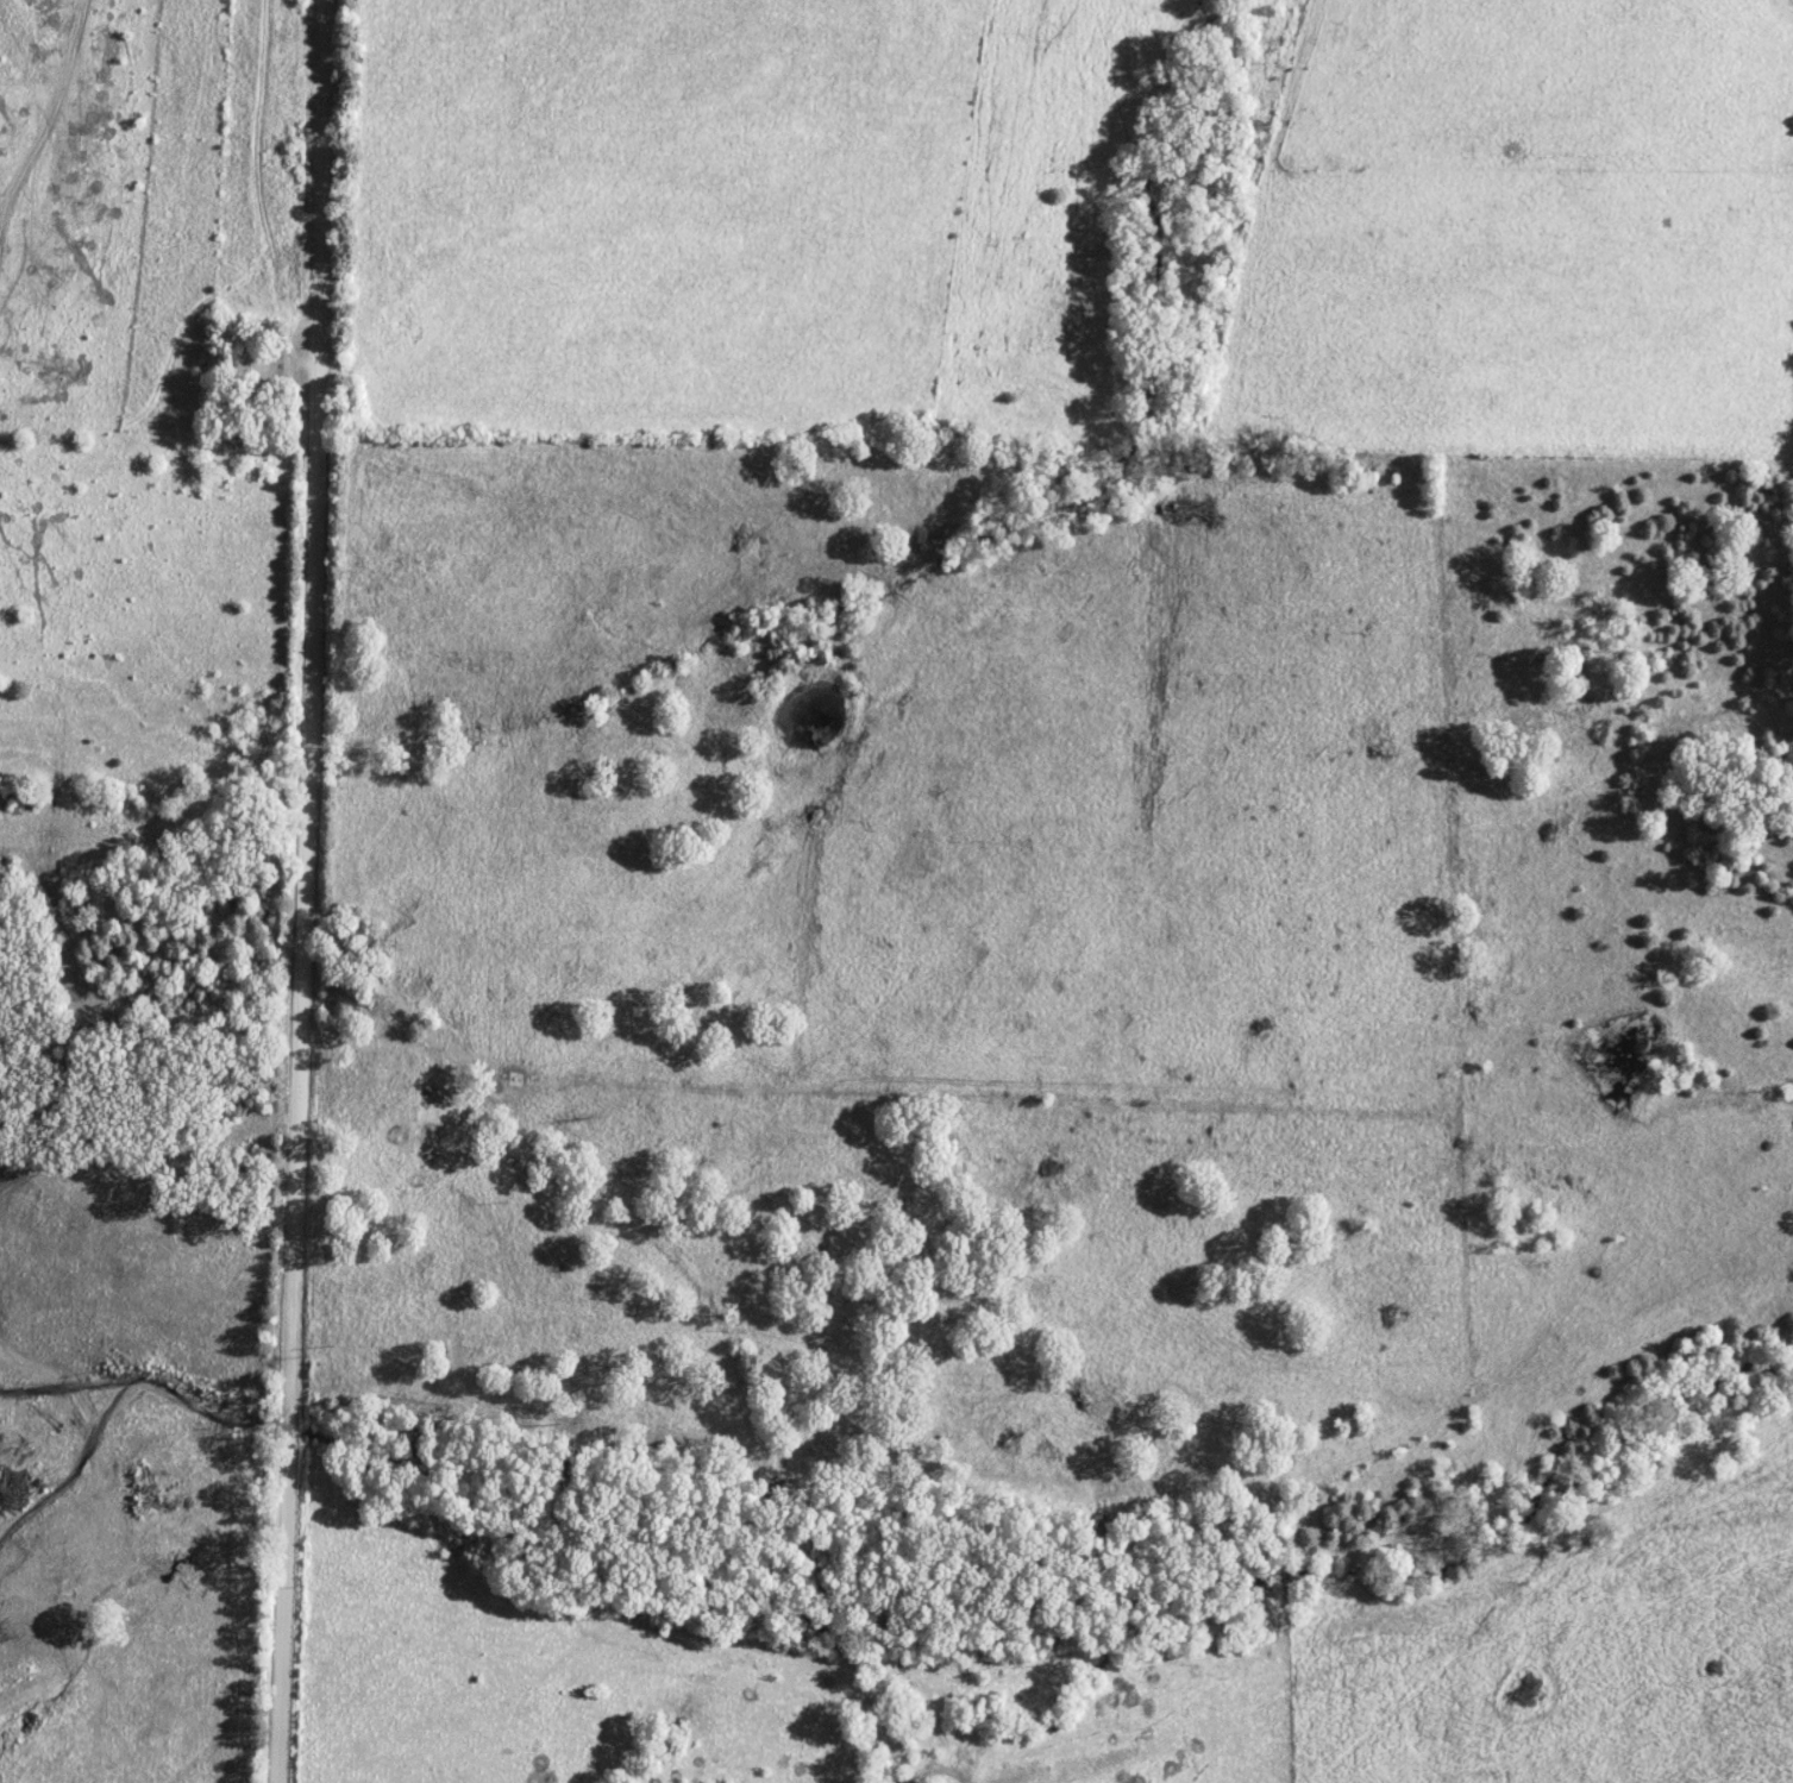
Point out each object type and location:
park: (253, 379)
road: (308, 891)

